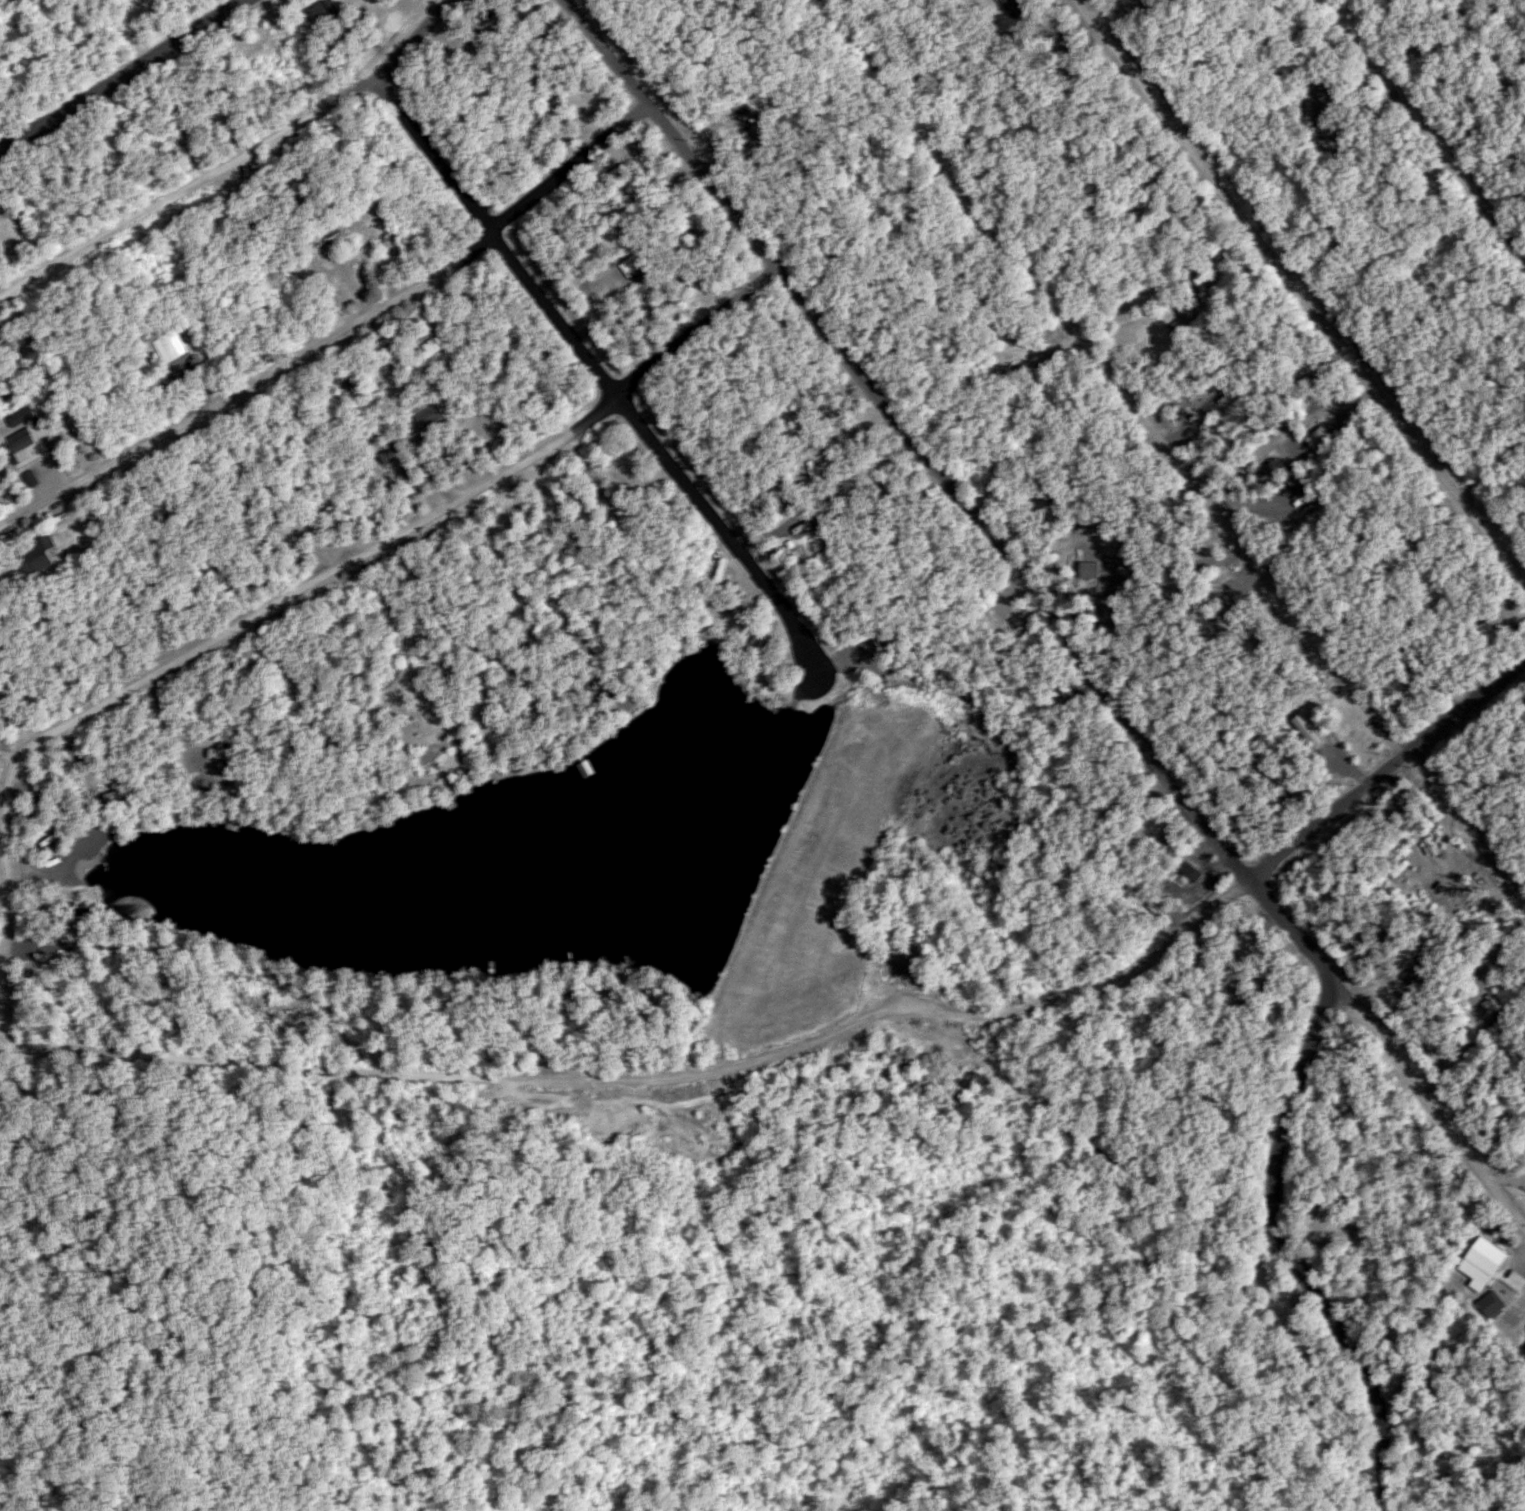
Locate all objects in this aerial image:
building: (325, 12)
road: (412, 40)
road: (123, 80)
road: (1420, 129)
road: (188, 191)
road: (1301, 292)
road: (330, 328)
building: (435, 345)
road: (595, 373)
road: (1173, 453)
road: (949, 496)
road: (427, 521)
building: (46, 552)
road: (1386, 772)
road: (4, 872)
road: (1083, 997)
road: (449, 1074)
road: (1430, 1106)
road: (1331, 1262)

